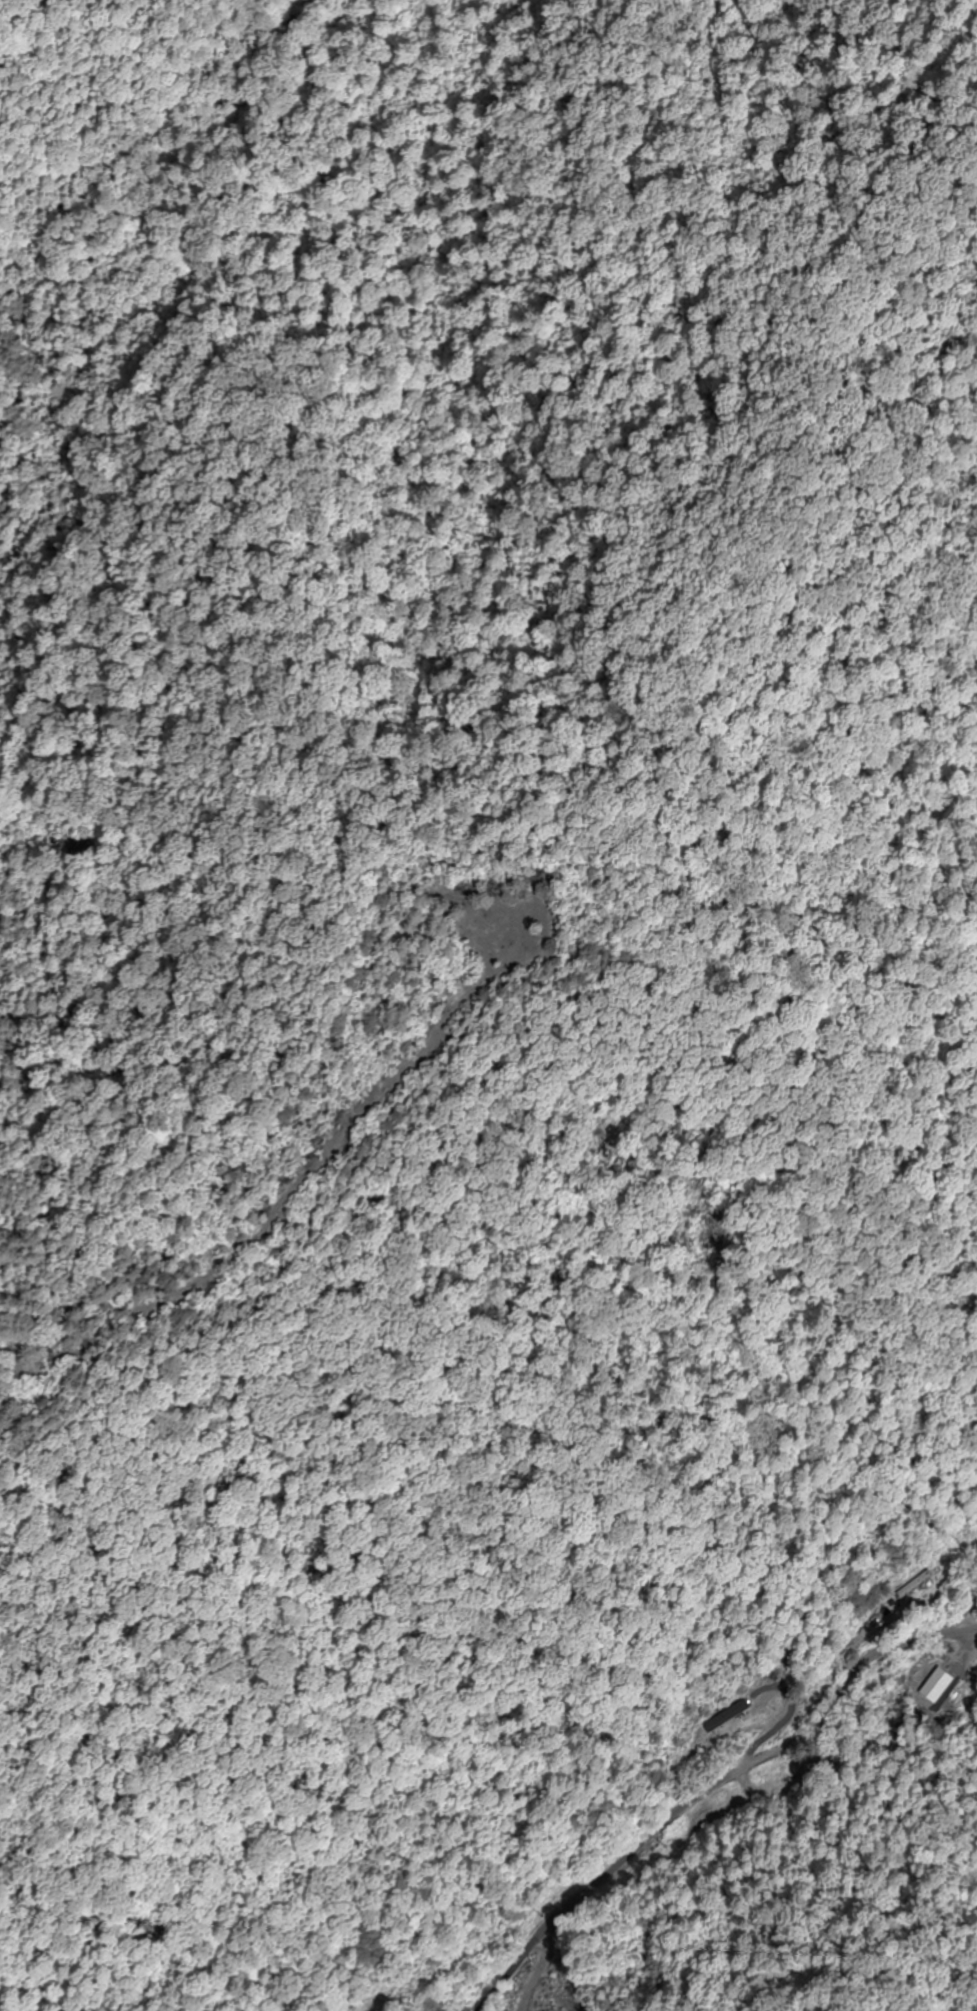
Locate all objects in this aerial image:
building: (920, 1585)
building: (729, 1724)
road: (693, 1781)
building: (636, 1962)

